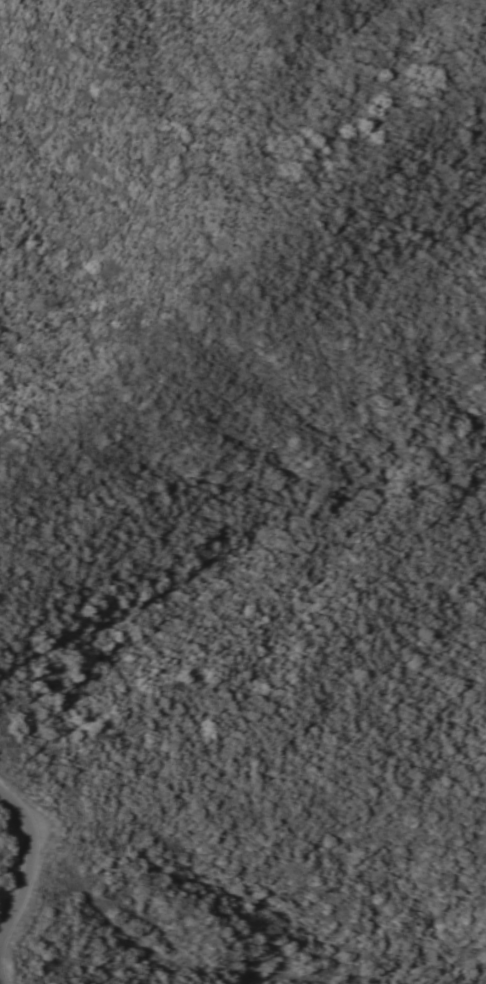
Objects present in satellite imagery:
road: (26, 875)
road: (2, 977)

